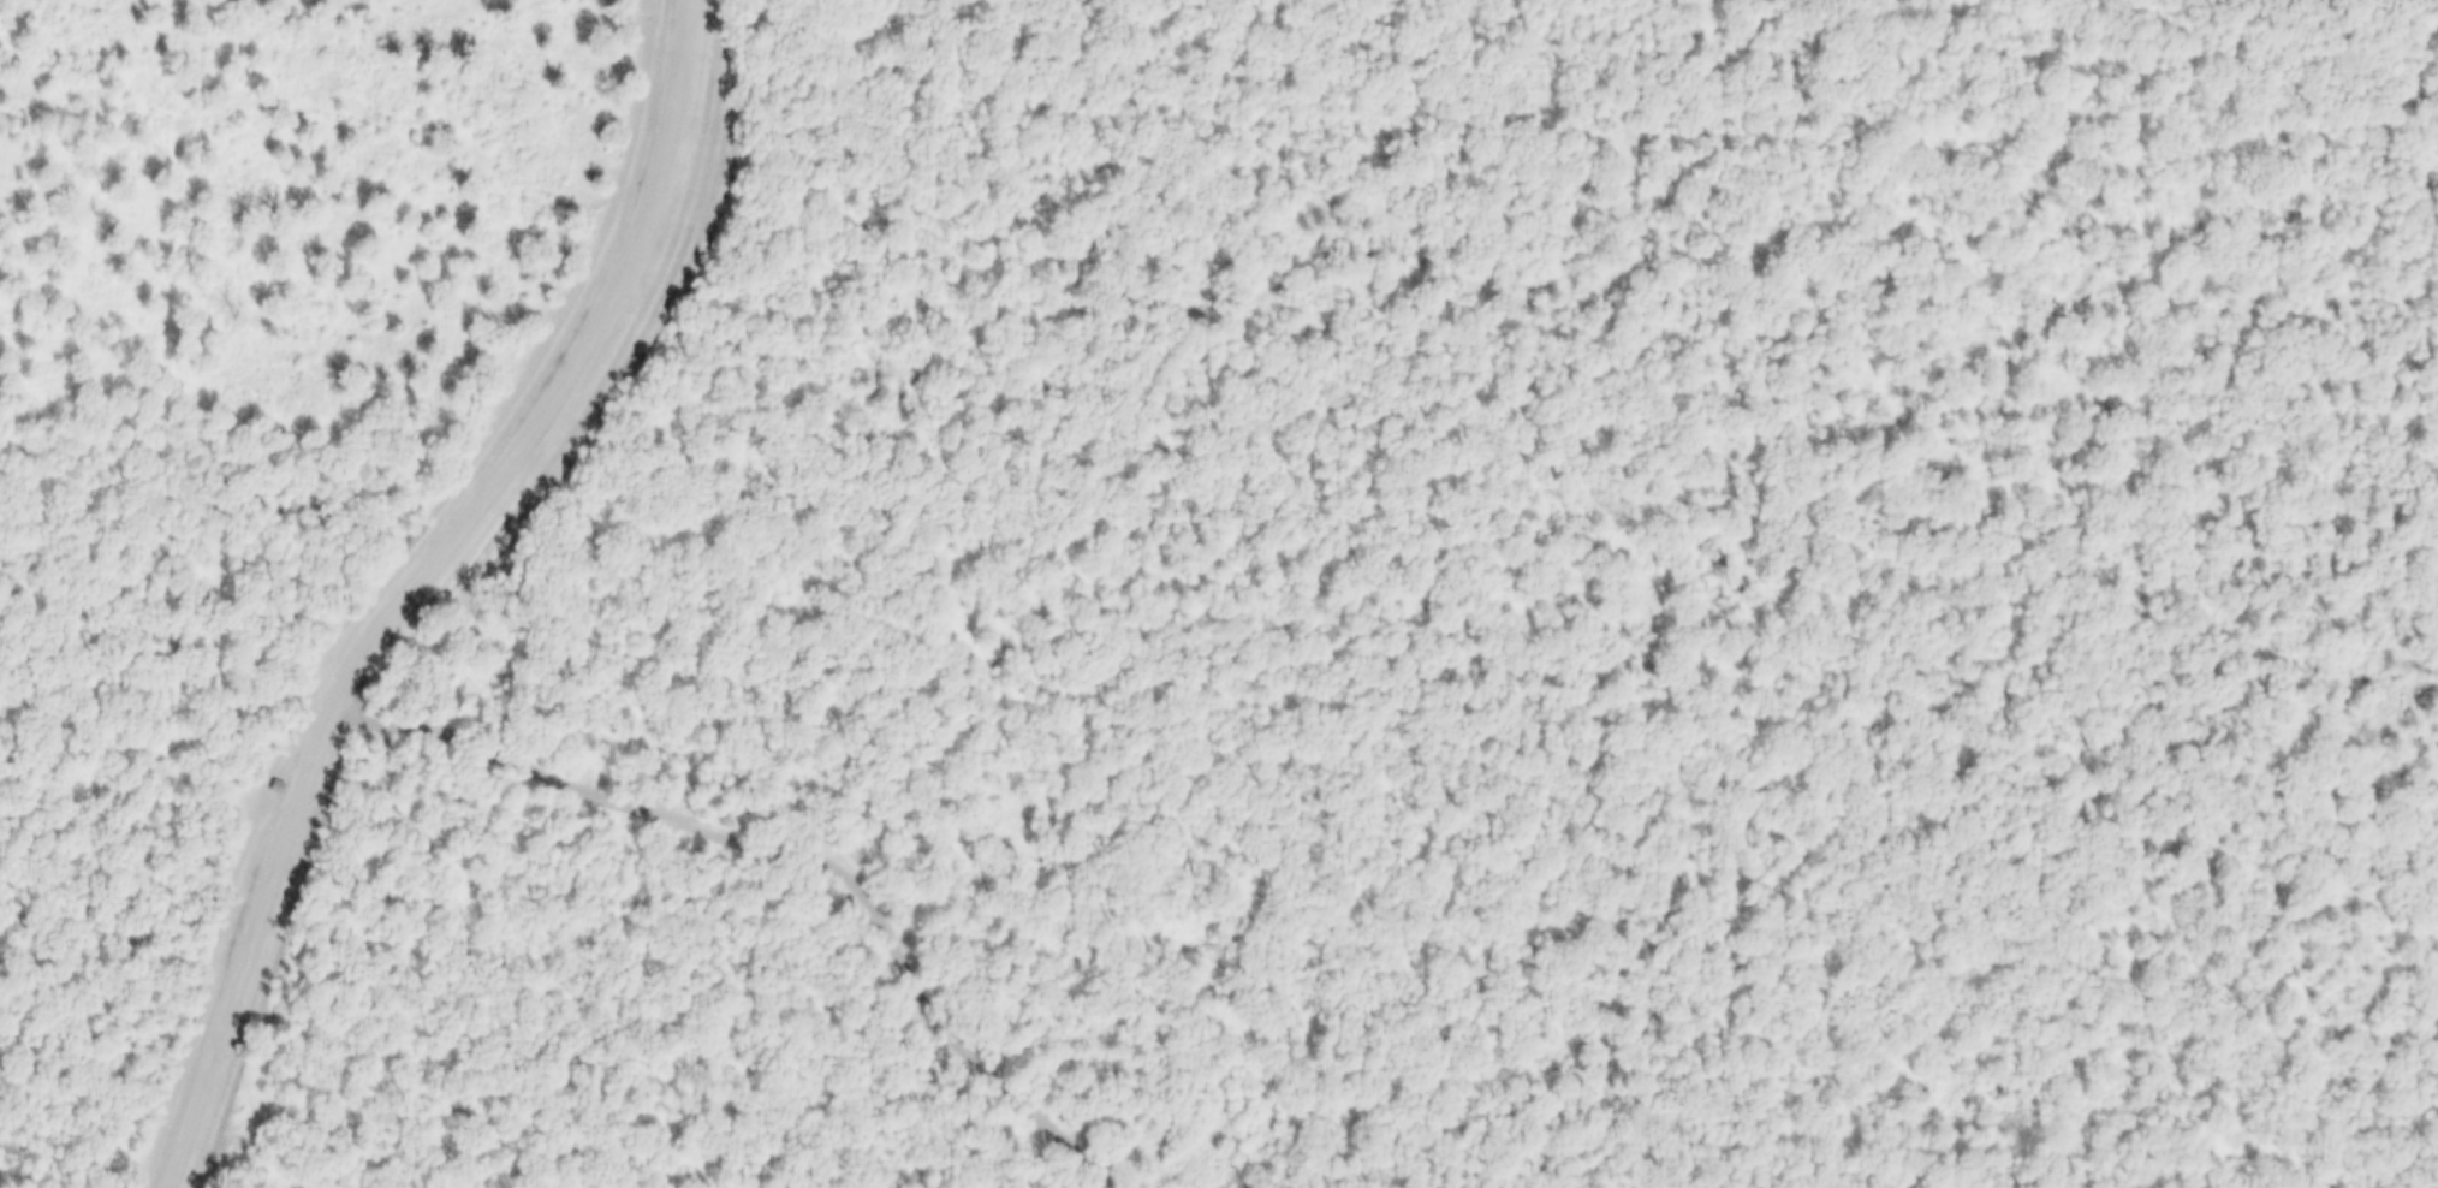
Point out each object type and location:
road: (418, 583)
building: (270, 788)
road: (783, 861)

